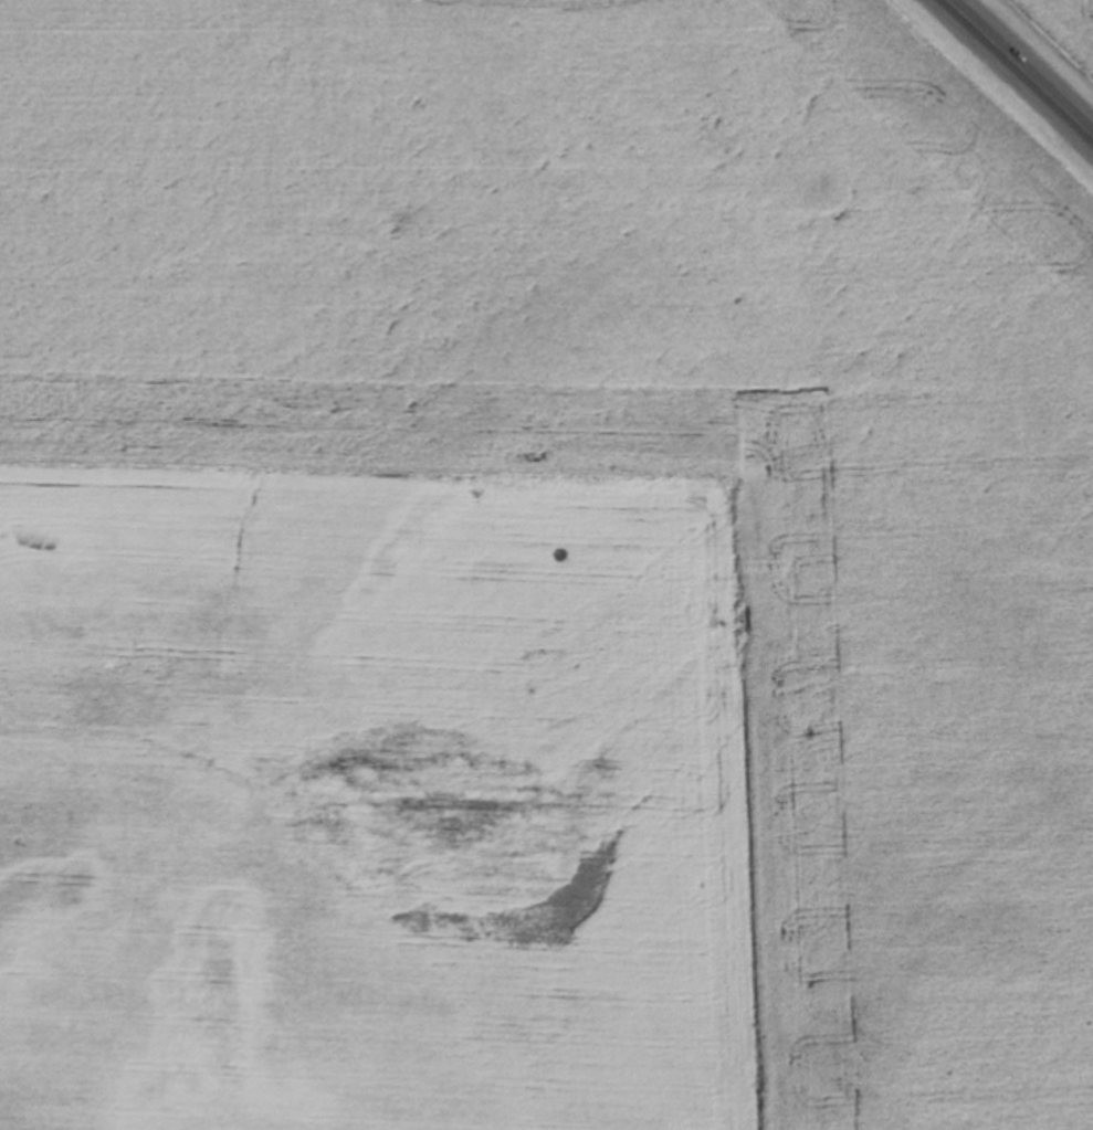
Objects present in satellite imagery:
road: (1008, 72)

